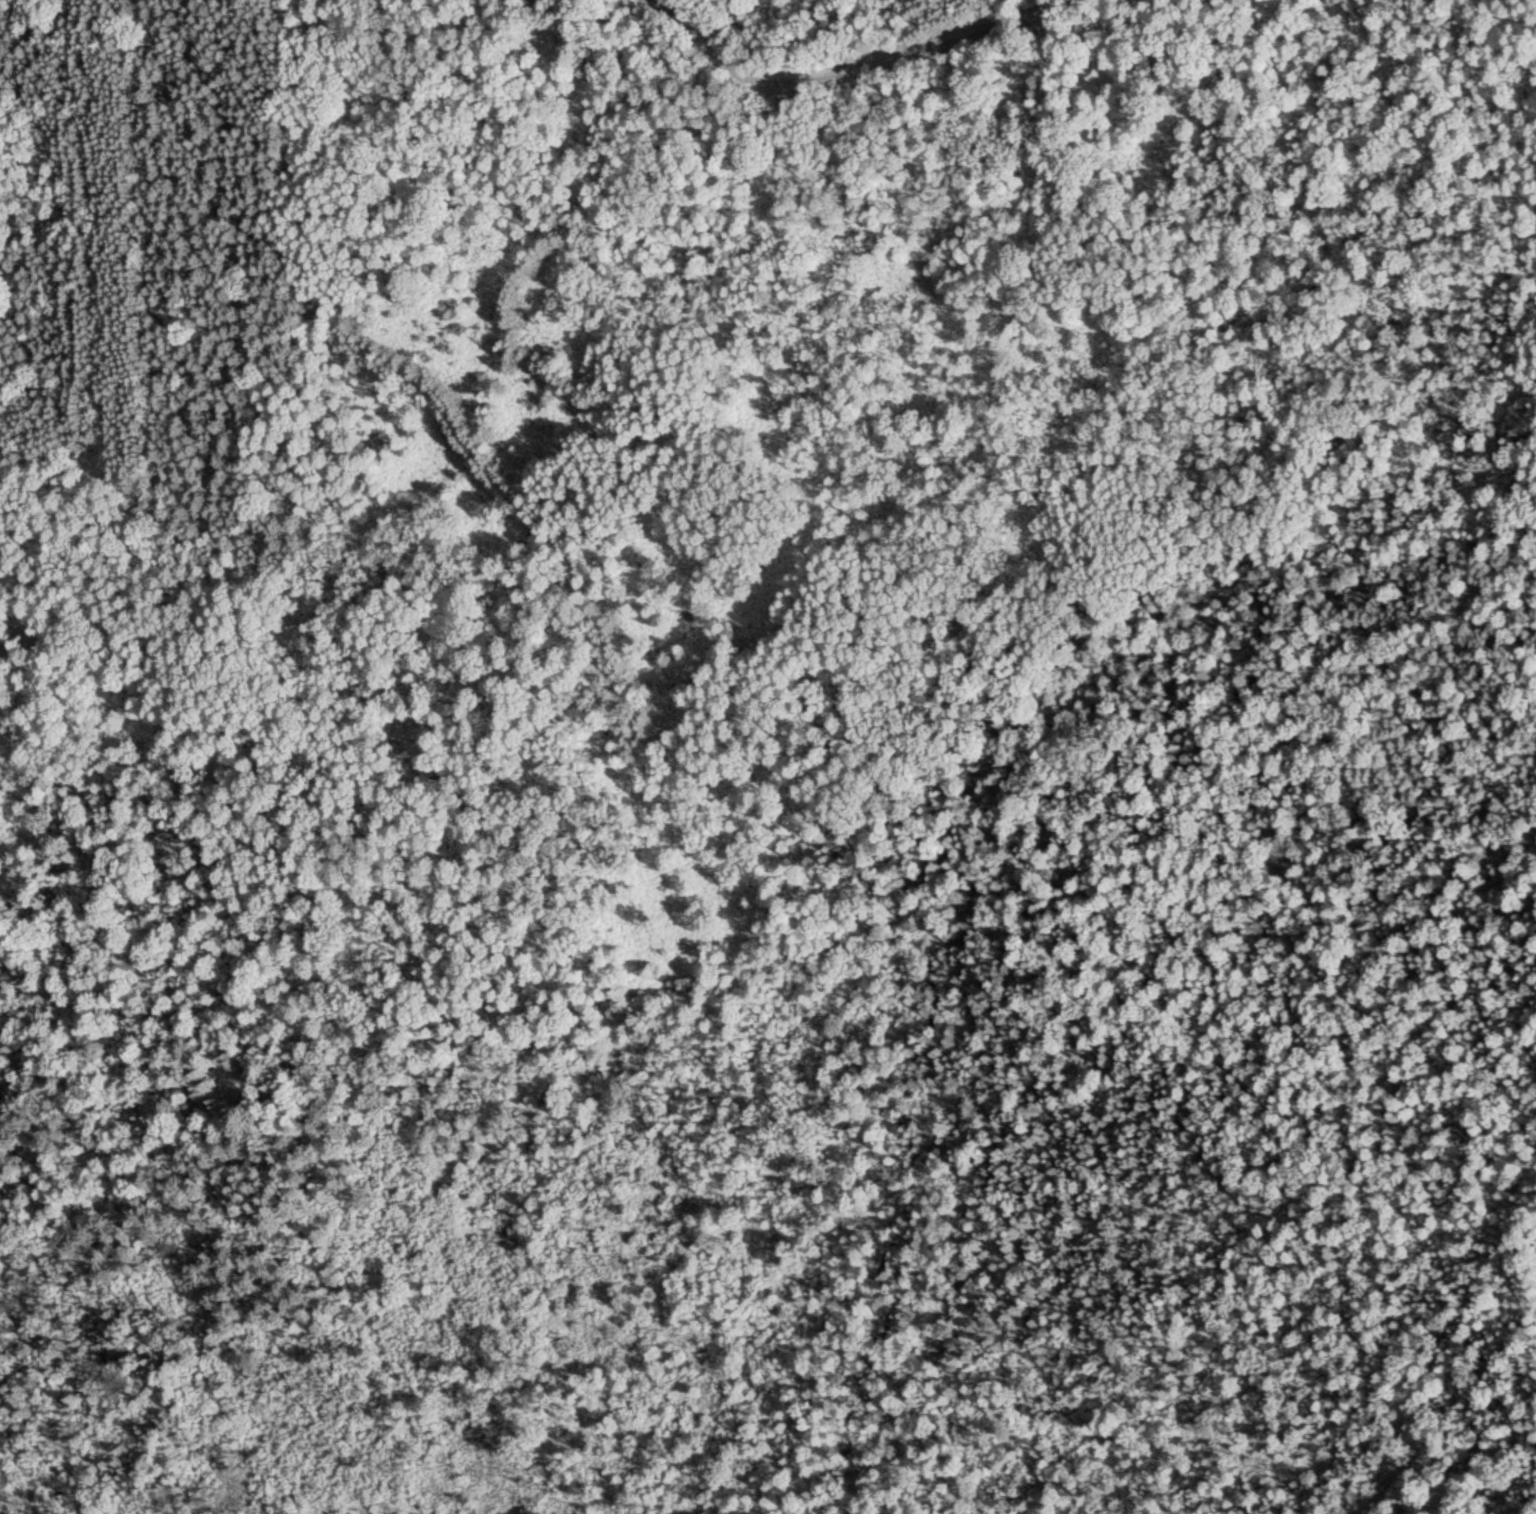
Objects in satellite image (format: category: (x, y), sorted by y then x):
road: (850, 68)

